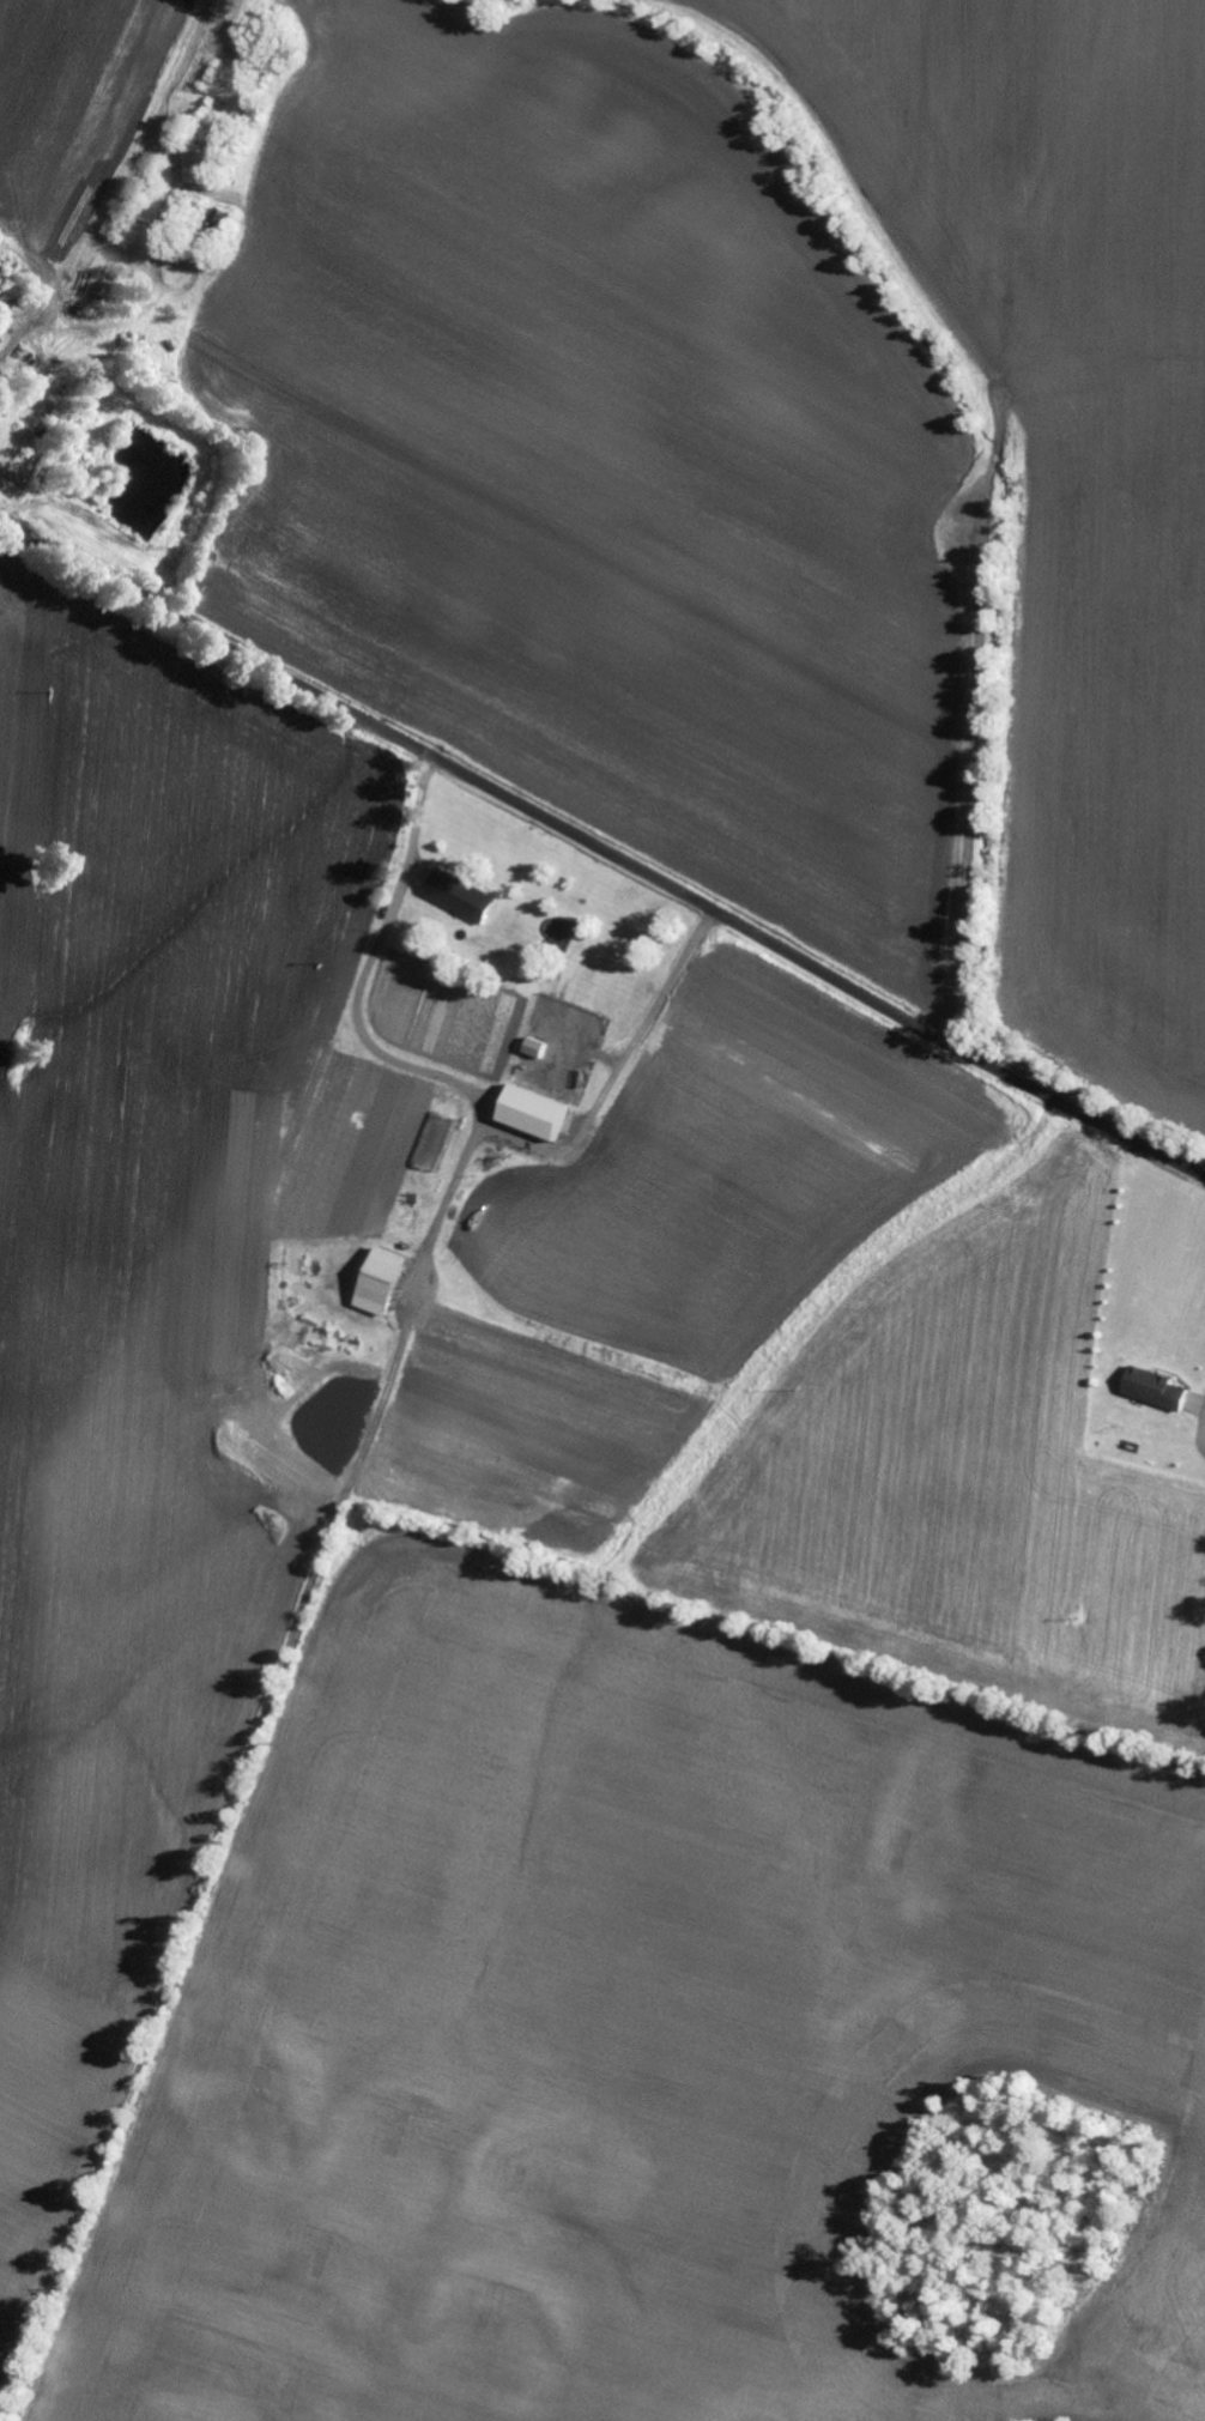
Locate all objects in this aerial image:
road: (602, 849)
building: (468, 896)
building: (541, 1048)
road: (343, 1064)
building: (544, 1113)
building: (438, 1142)
building: (390, 1283)
building: (1162, 1390)

